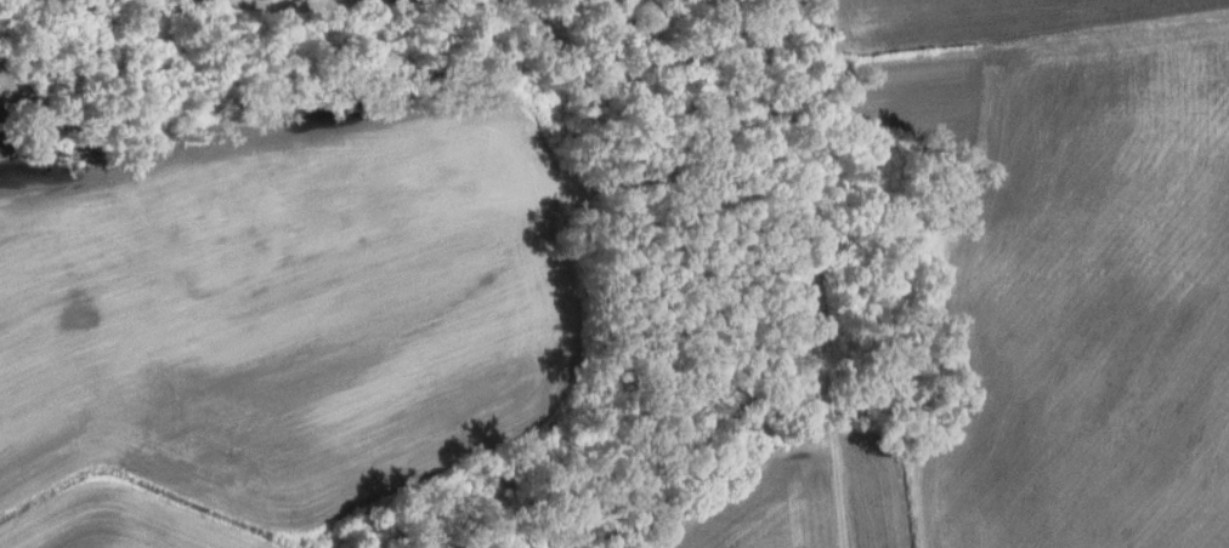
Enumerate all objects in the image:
road: (517, 227)

